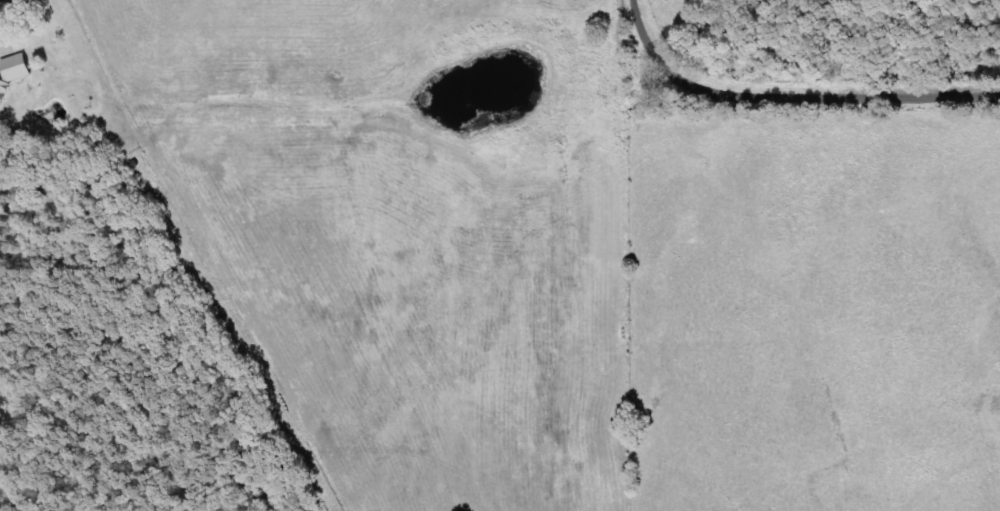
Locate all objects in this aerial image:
building: (12, 9)
building: (21, 66)
building: (5, 93)
road: (796, 95)

